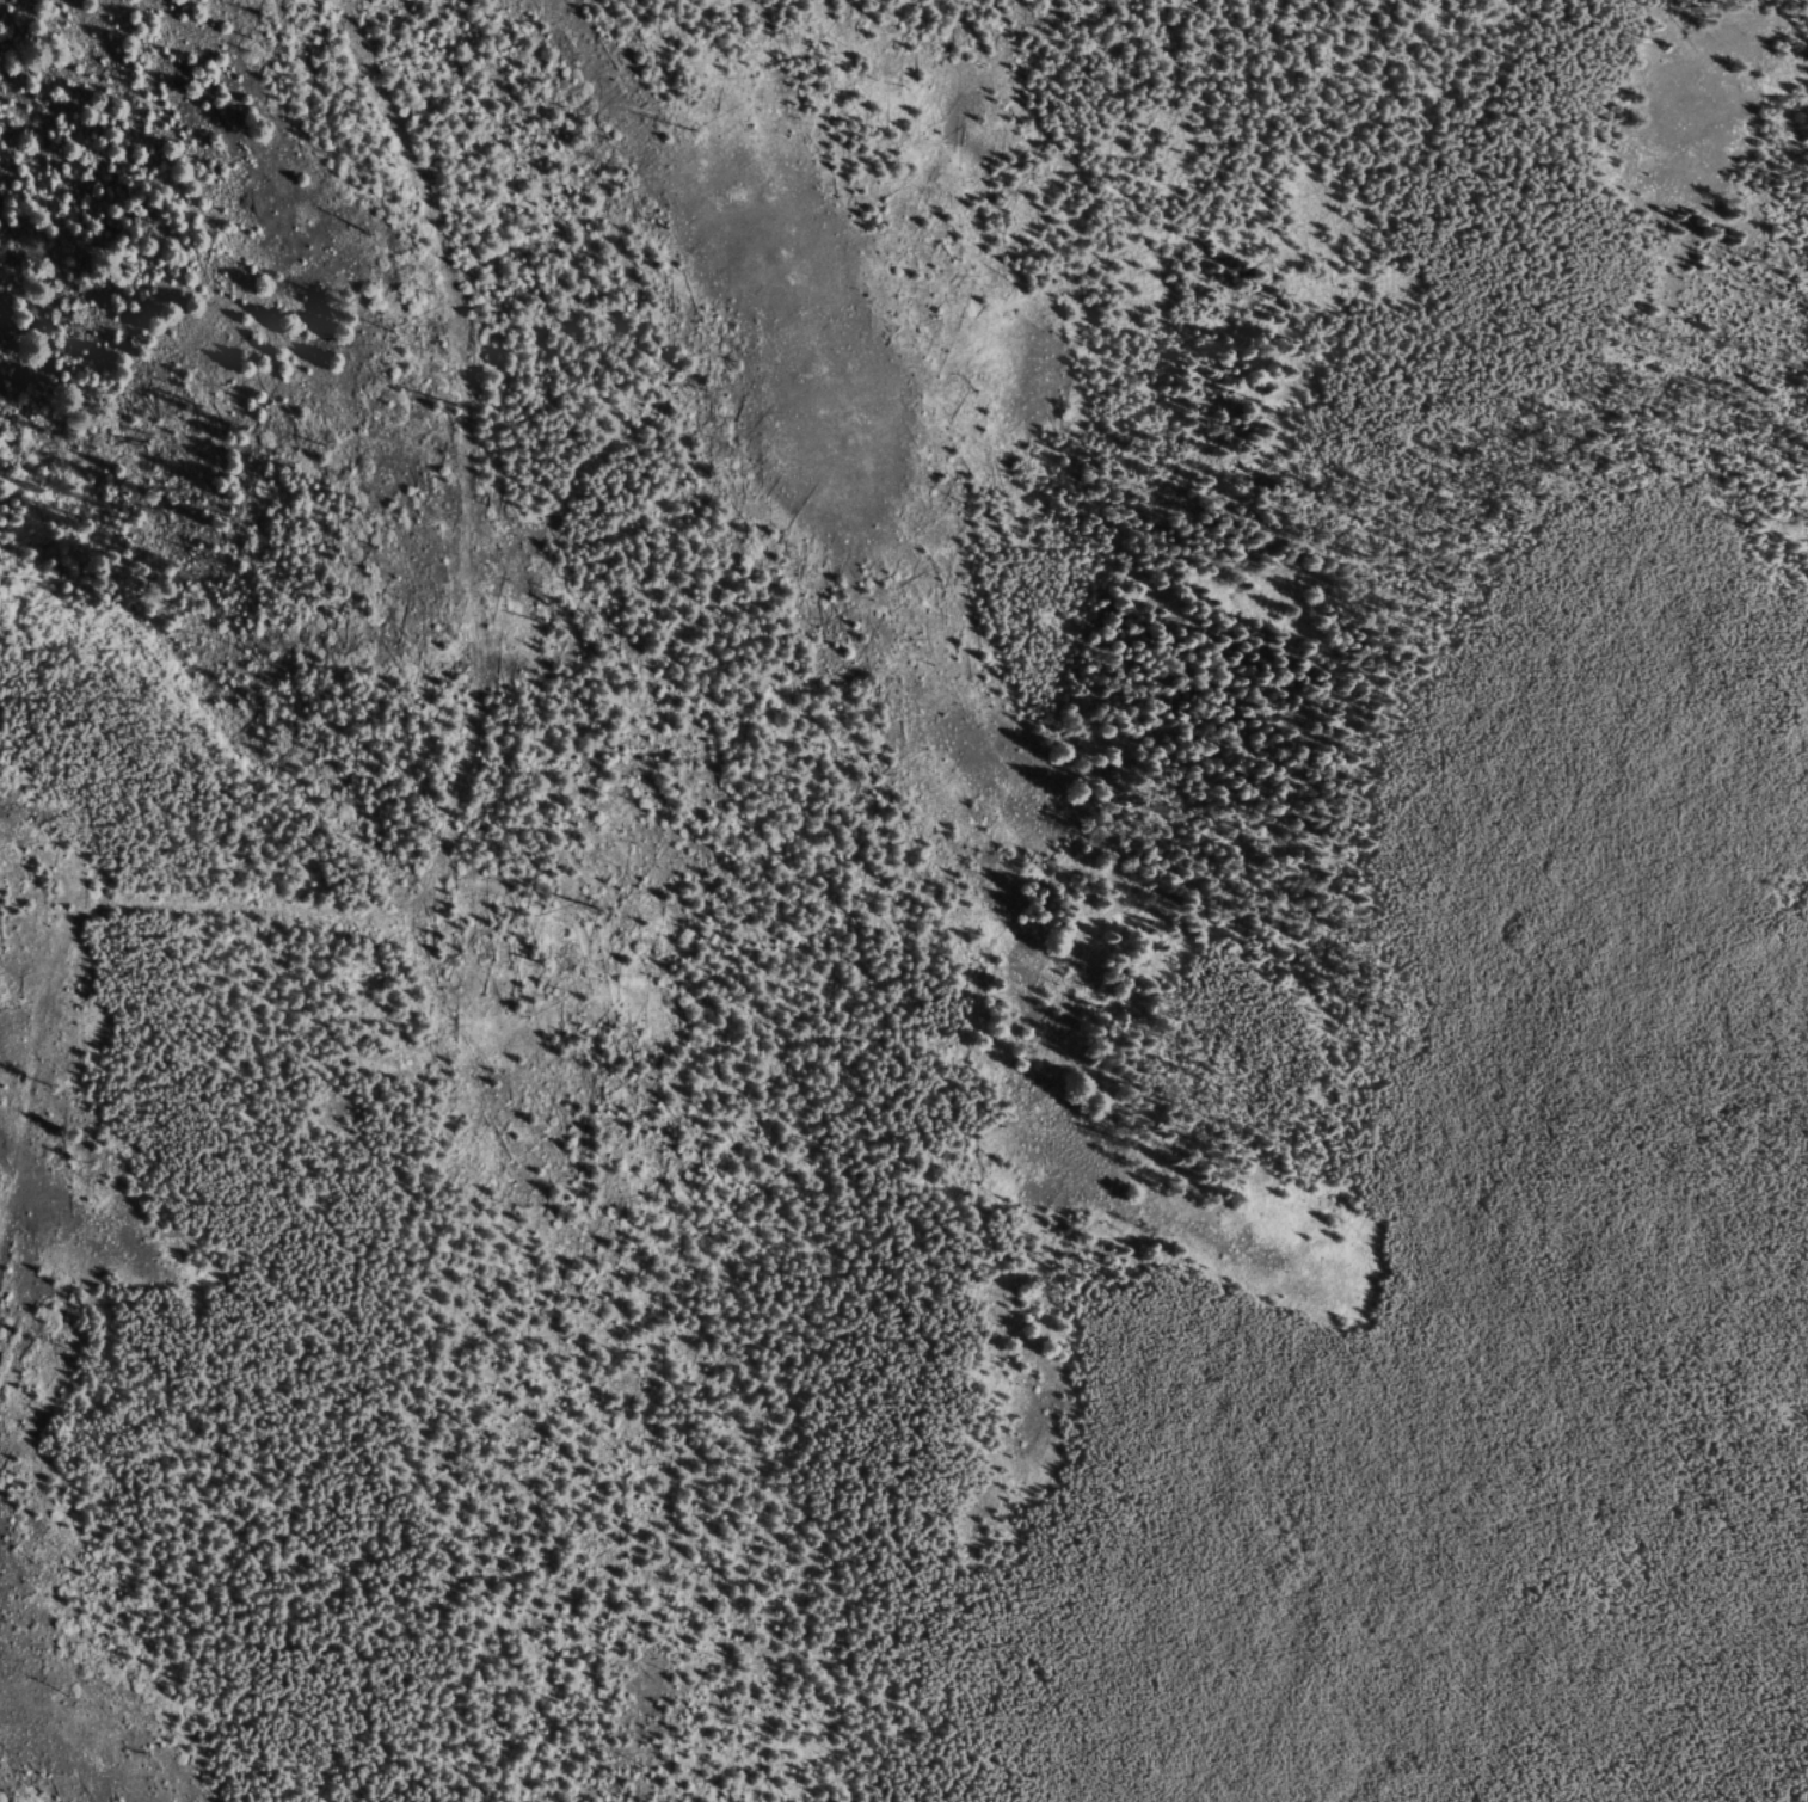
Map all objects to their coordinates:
road: (1711, 62)

